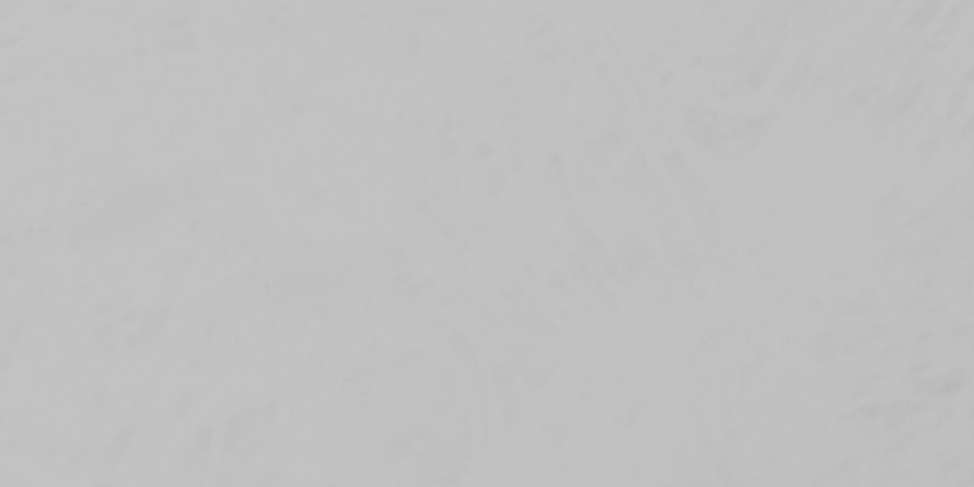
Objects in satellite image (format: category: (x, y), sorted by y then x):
road: (246, 243)

